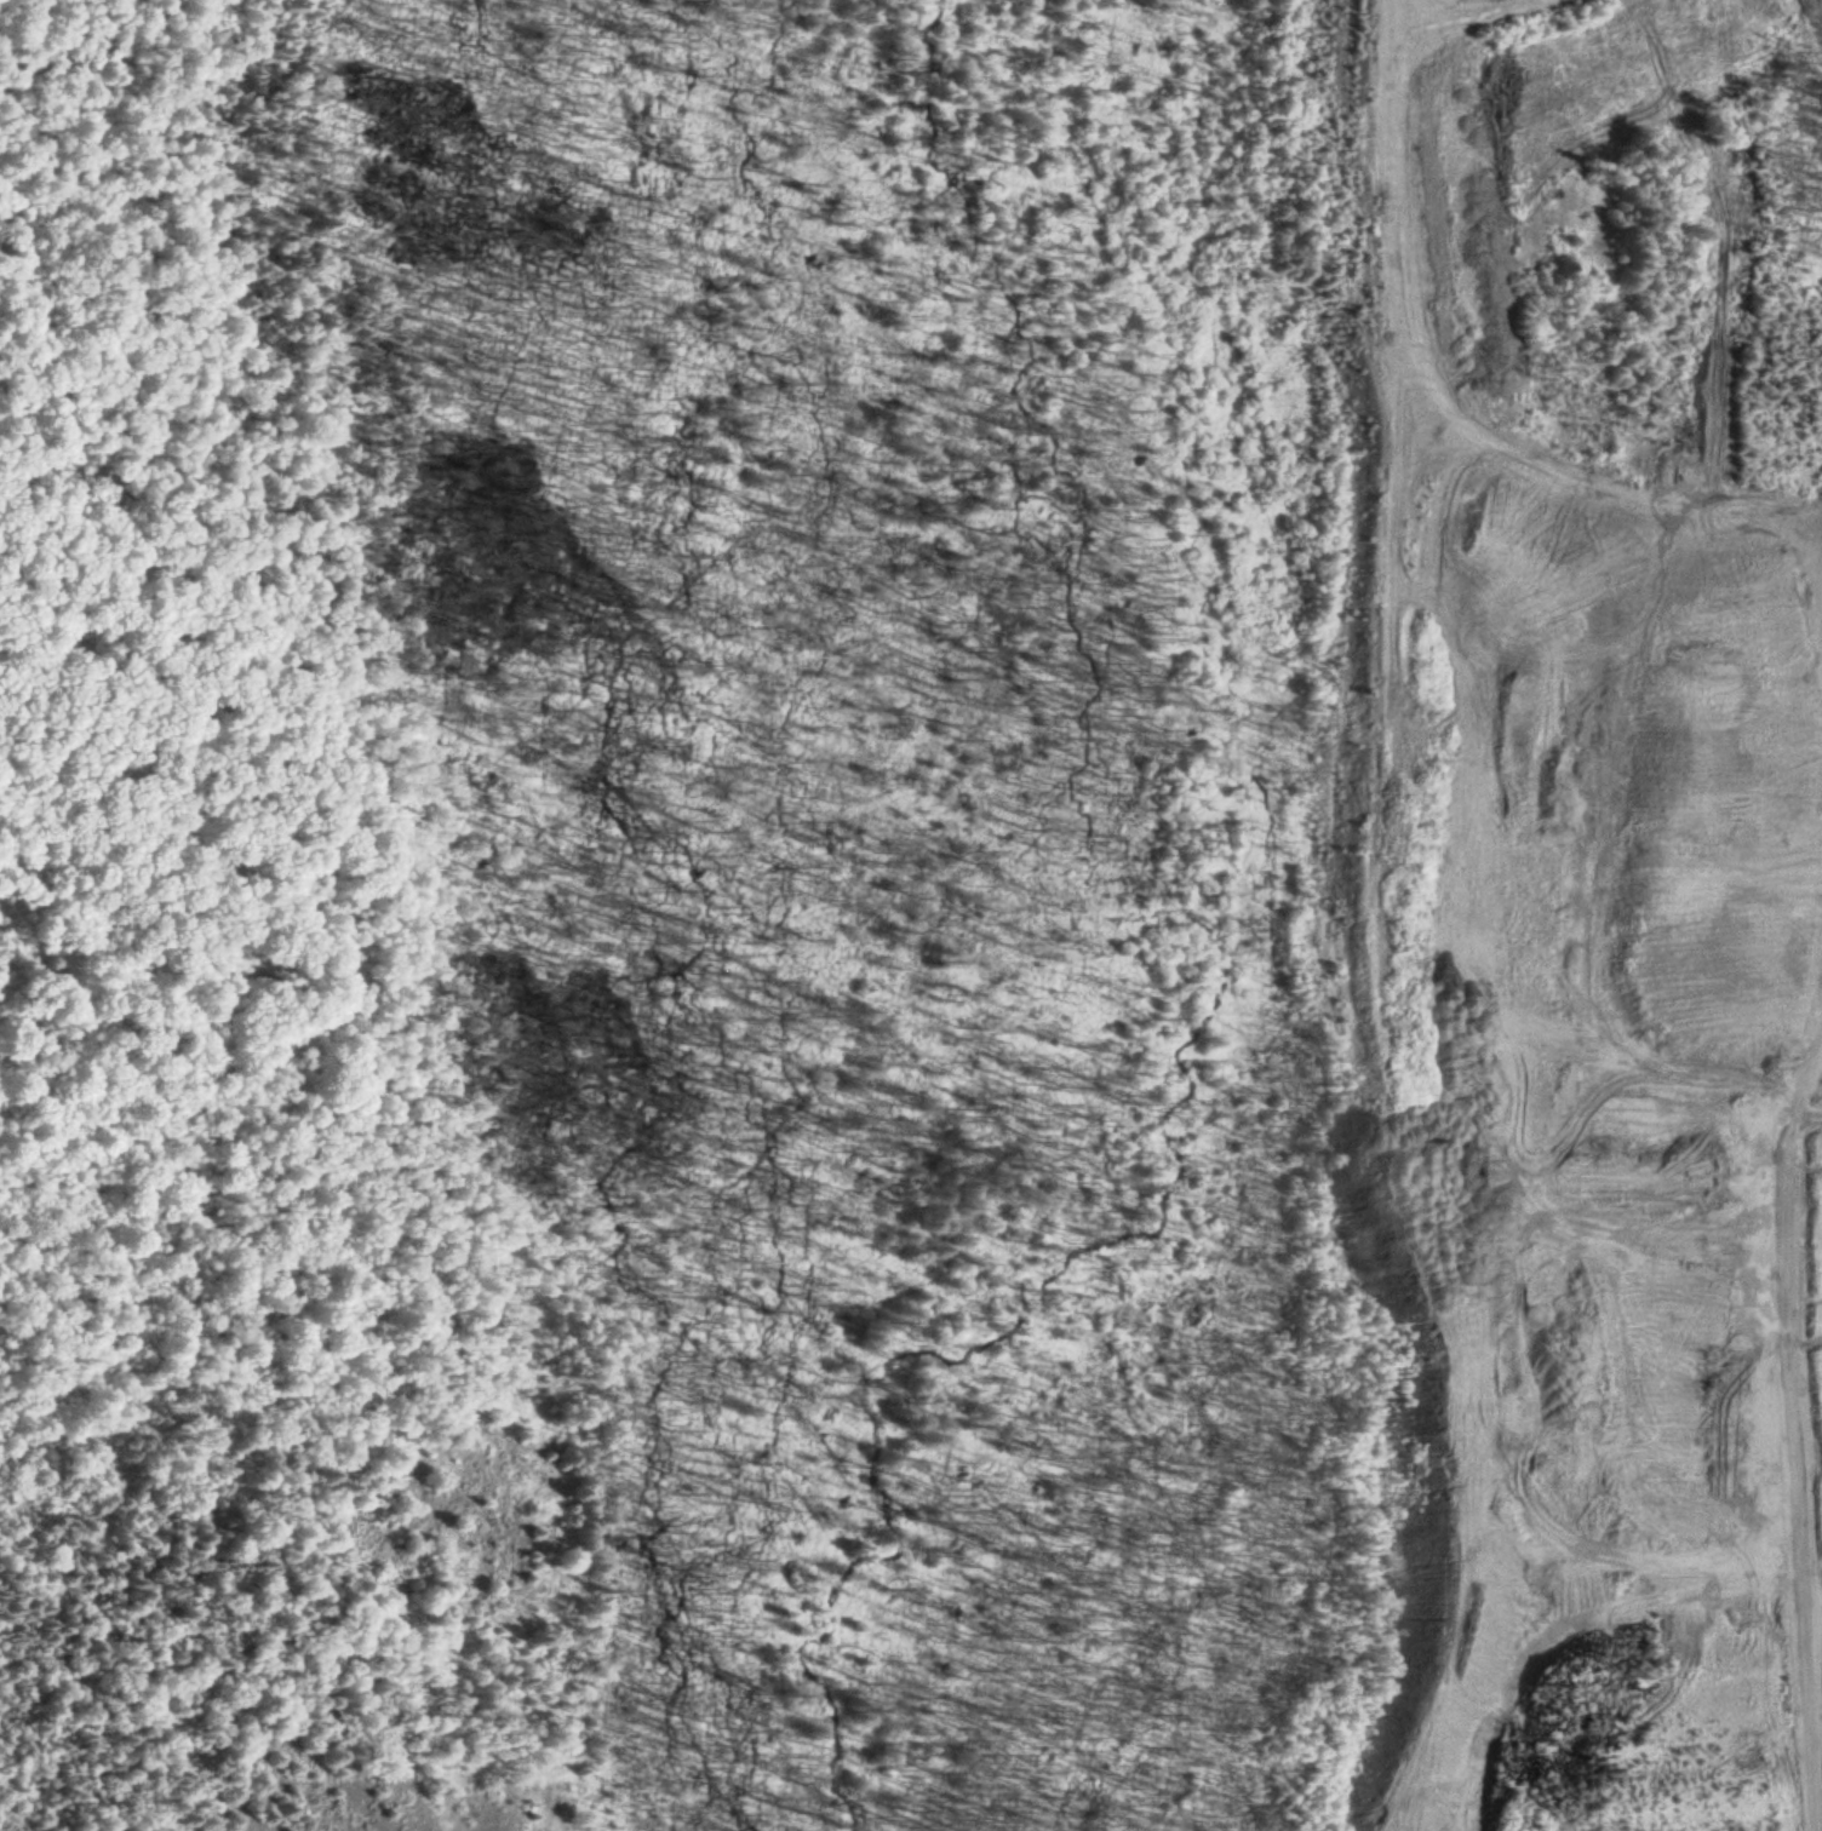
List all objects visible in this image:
park: (363, 681)
quarry: (1272, 918)

